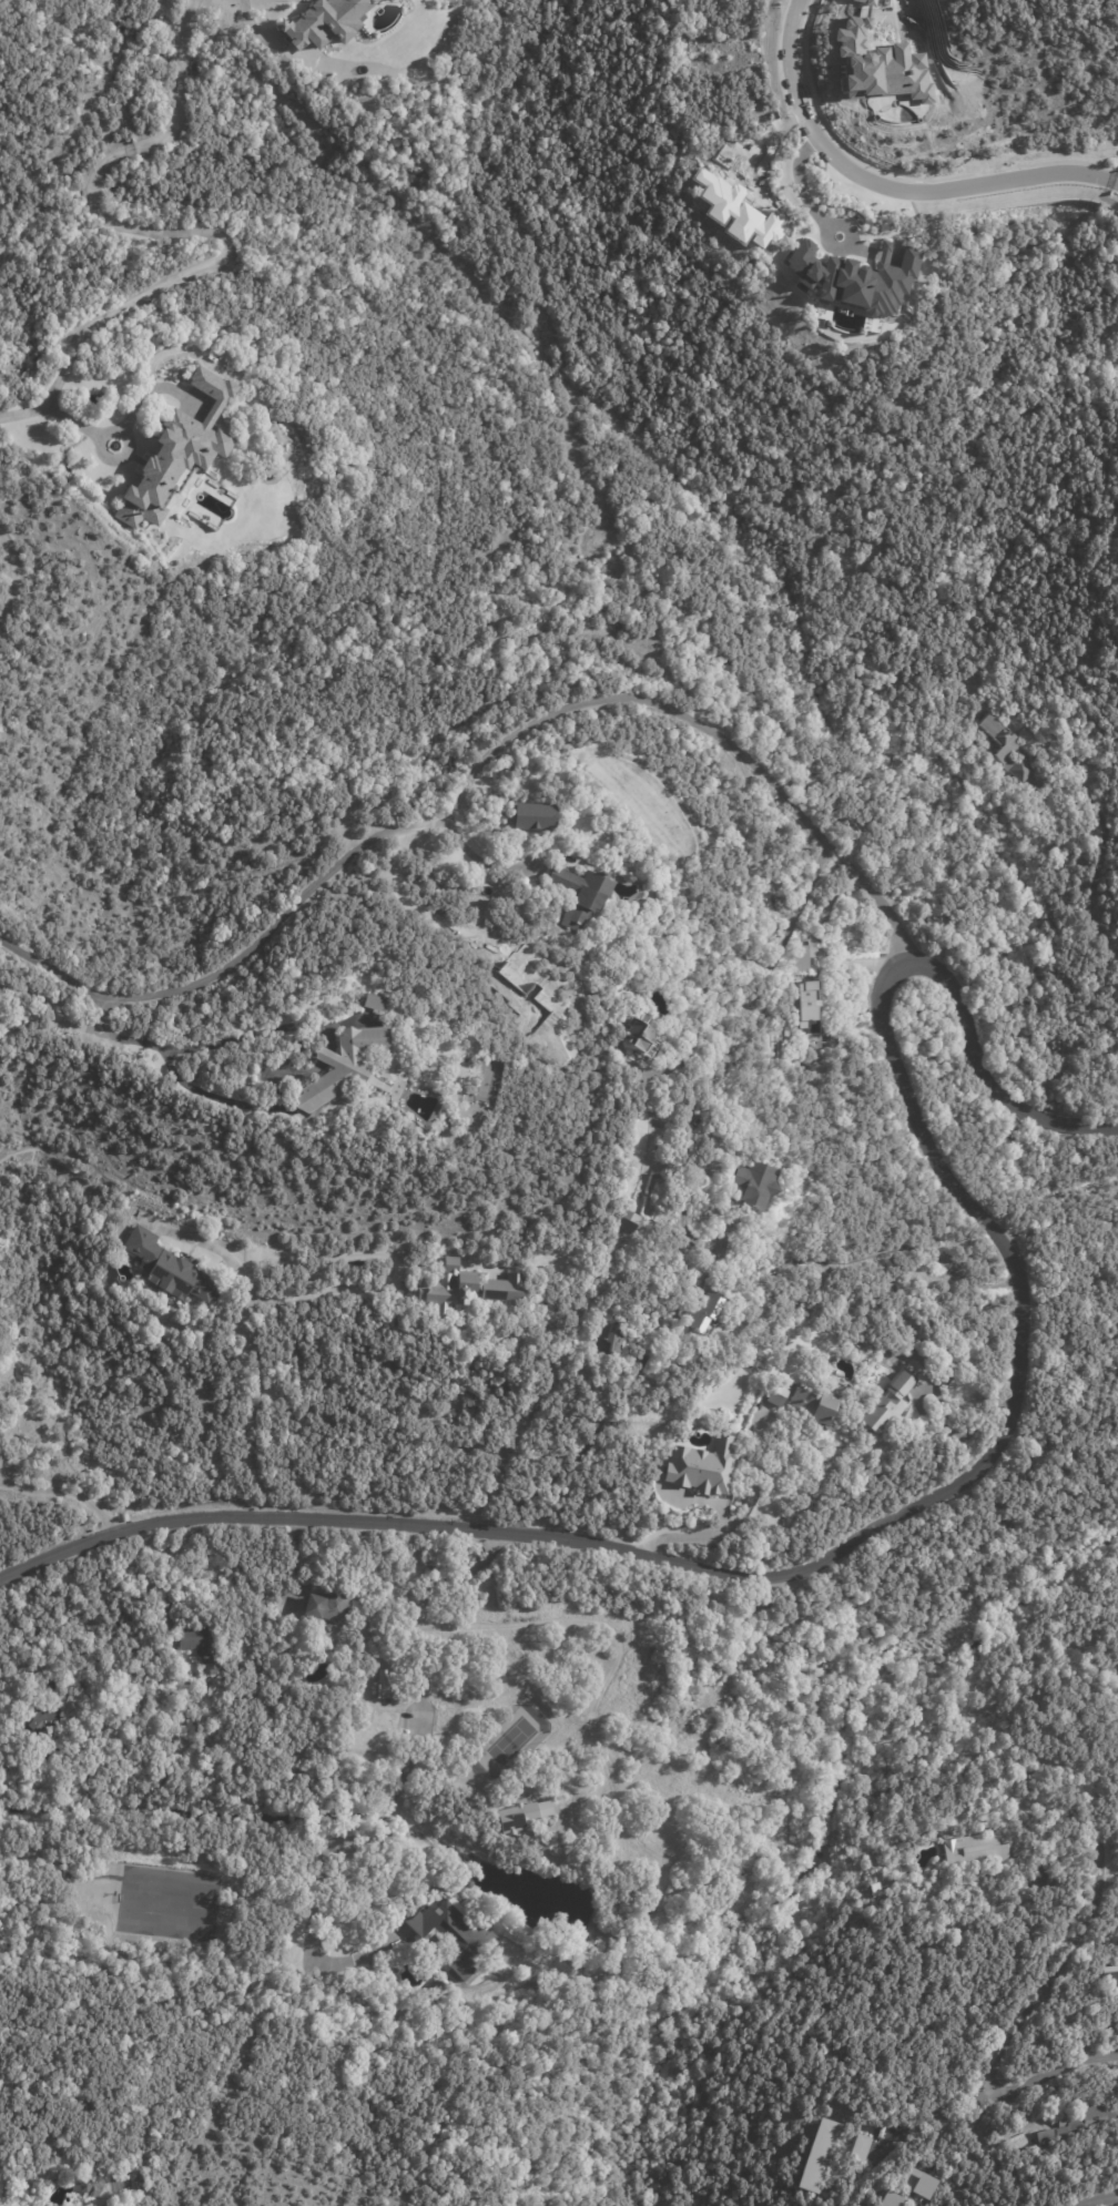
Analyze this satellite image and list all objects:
building: (325, 22)
road: (1115, 182)
road: (803, 183)
road: (884, 186)
road: (181, 232)
building: (855, 277)
building: (180, 450)
road: (10, 573)
building: (1006, 750)
road: (470, 771)
building: (533, 815)
road: (482, 861)
road: (1094, 863)
building: (631, 877)
building: (583, 892)
road: (741, 958)
building: (803, 967)
building: (376, 1003)
building: (806, 1004)
road: (49, 1009)
road: (100, 1014)
road: (254, 1033)
building: (643, 1034)
building: (804, 1045)
building: (799, 1063)
building: (345, 1066)
road: (175, 1074)
road: (985, 1076)
building: (715, 1145)
building: (760, 1183)
building: (631, 1222)
building: (171, 1269)
road: (382, 1282)
building: (469, 1289)
building: (707, 1314)
road: (247, 1336)
building: (611, 1340)
building: (947, 1373)
building: (809, 1402)
building: (887, 1403)
road: (580, 1446)
building: (702, 1466)
road: (63, 1490)
road: (685, 1496)
road: (735, 1513)
road: (781, 1574)
road: (167, 1578)
building: (333, 1604)
building: (205, 1646)
building: (388, 1685)
building: (47, 1720)
building: (517, 1813)
building: (979, 1853)
building: (12, 1900)
building: (453, 1939)
building: (1111, 1985)
building: (436, 1990)
road: (1018, 2025)
building: (1112, 2031)
road: (936, 2111)
building: (1080, 2124)
building: (860, 2147)
building: (819, 2155)
building: (924, 2184)
building: (93, 2185)
road: (1095, 2198)
building: (897, 2200)
building: (91, 2205)
building: (924, 2205)
building: (929, 2205)

